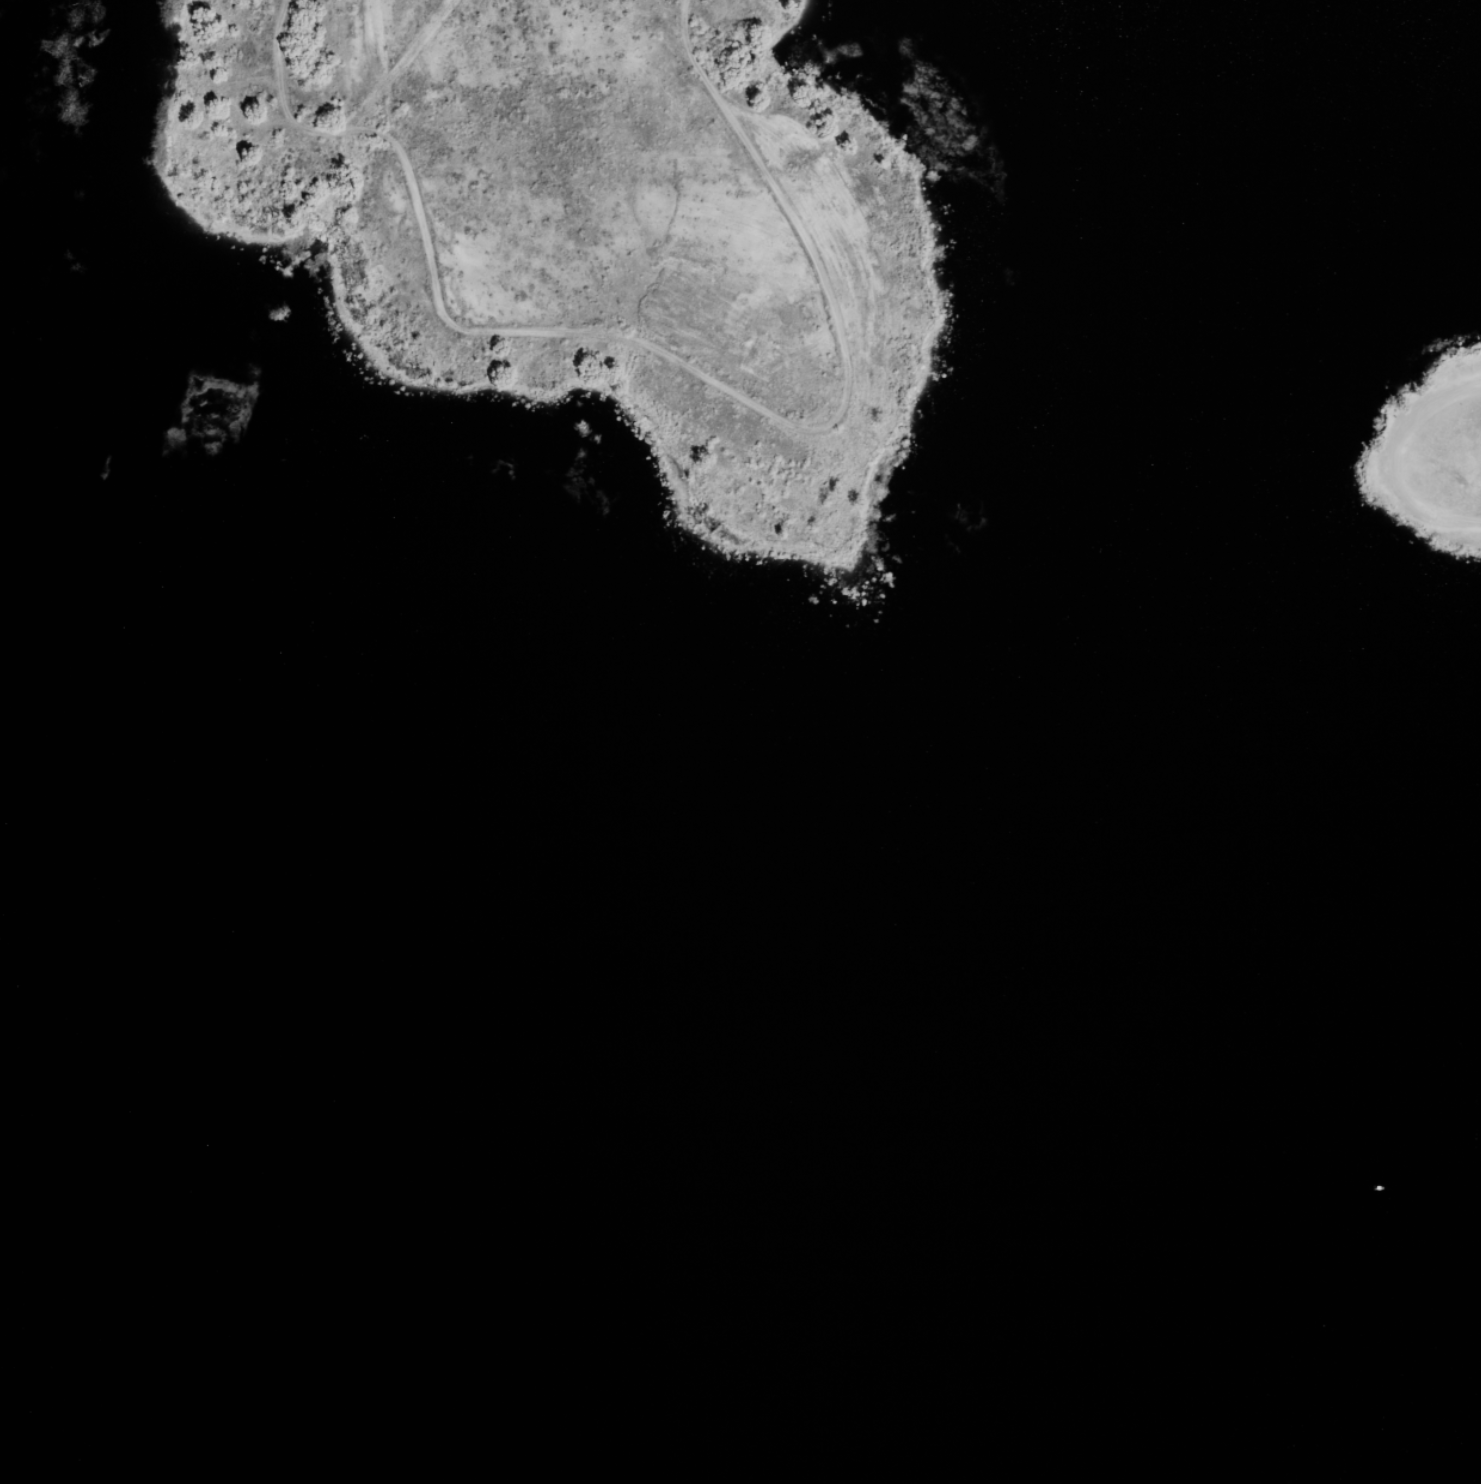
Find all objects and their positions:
road: (668, 357)
road: (1395, 459)

